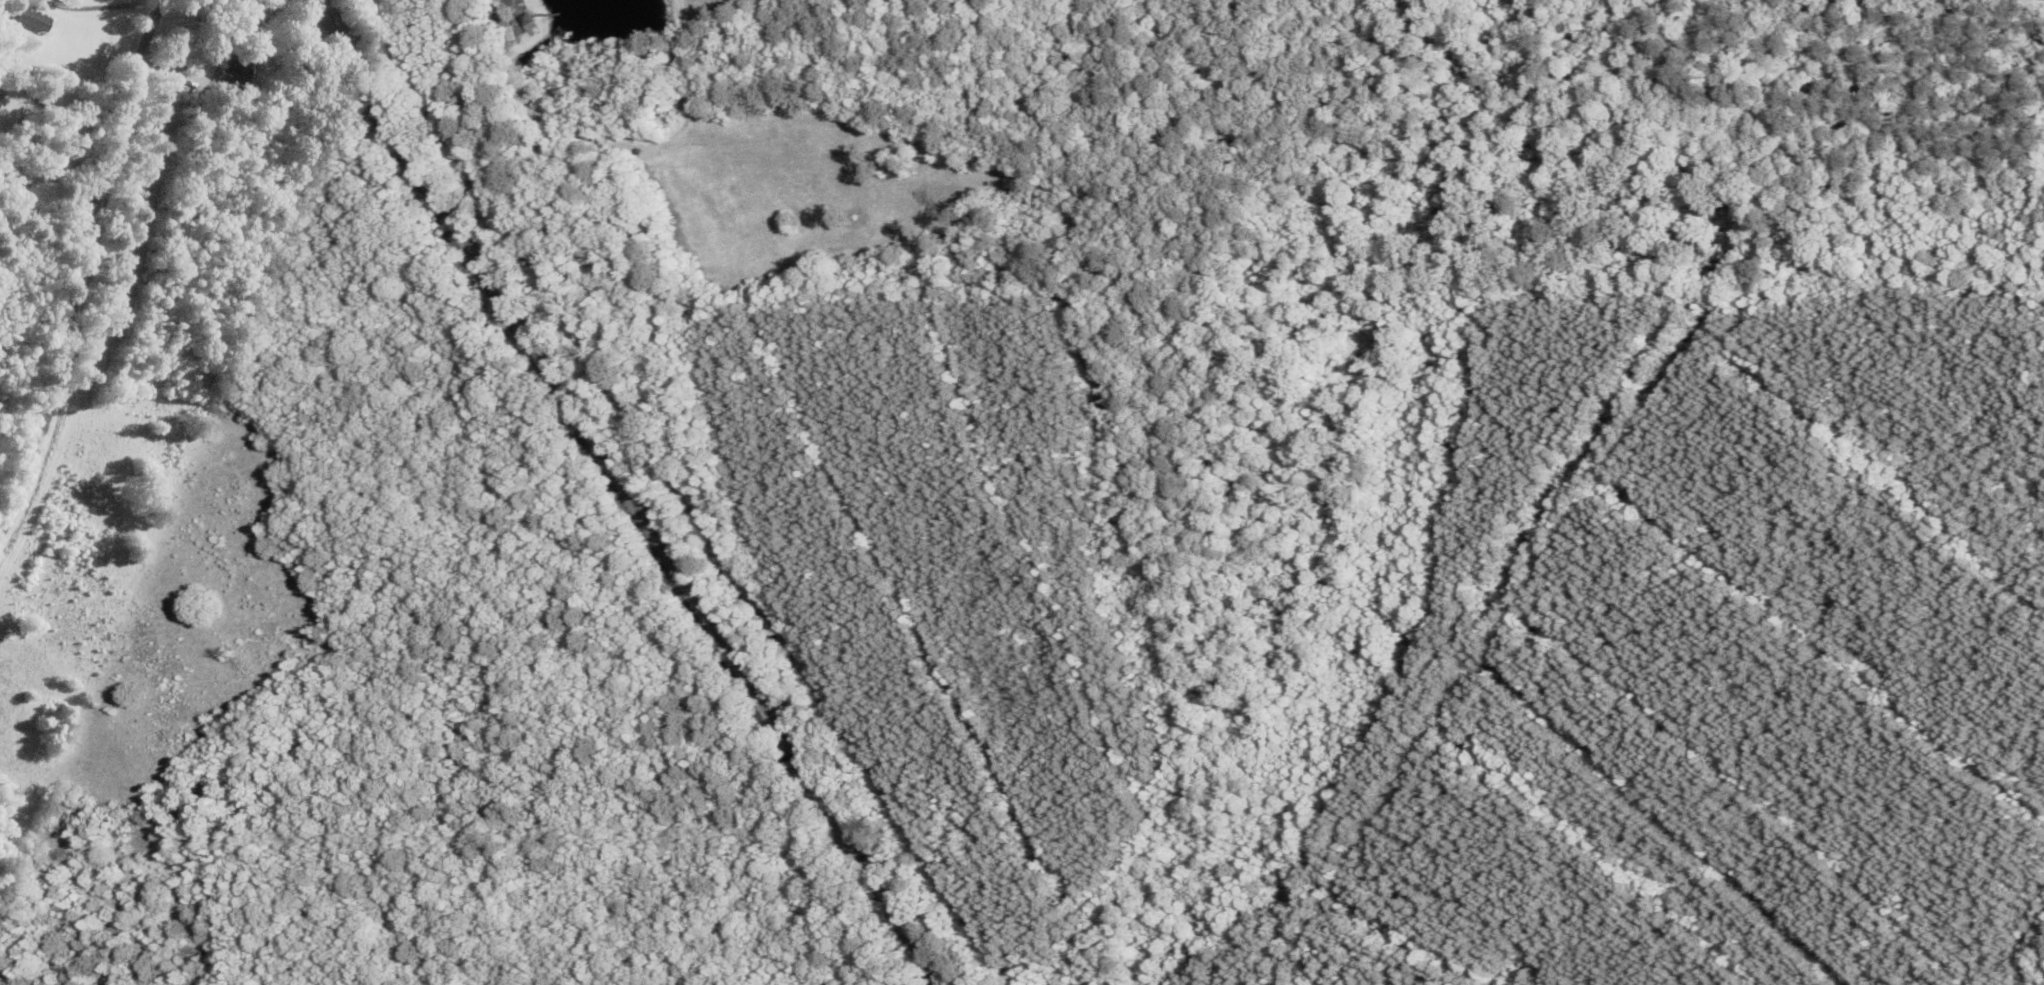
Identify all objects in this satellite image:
building: (31, 20)
building: (529, 23)
building: (234, 75)
building: (1, 95)
road: (83, 248)
railway: (622, 494)

